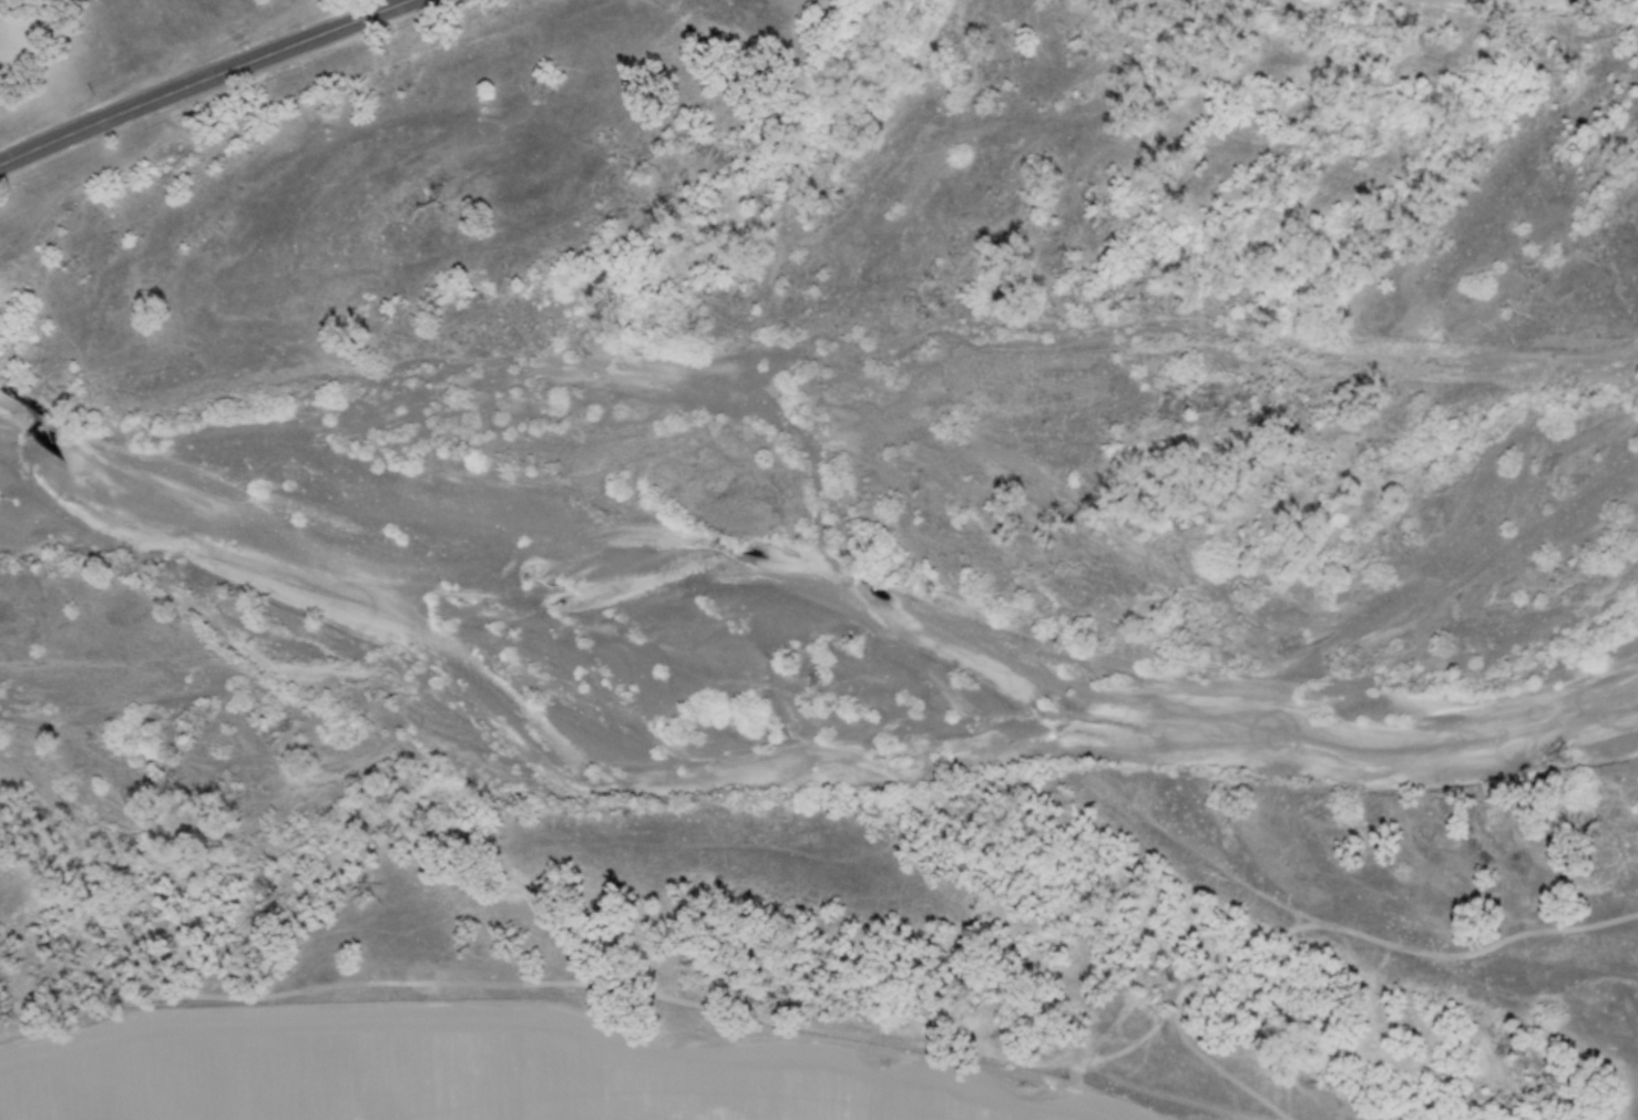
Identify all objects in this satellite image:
river: (1486, 3)
road: (203, 78)
river: (49, 526)
river: (810, 779)

